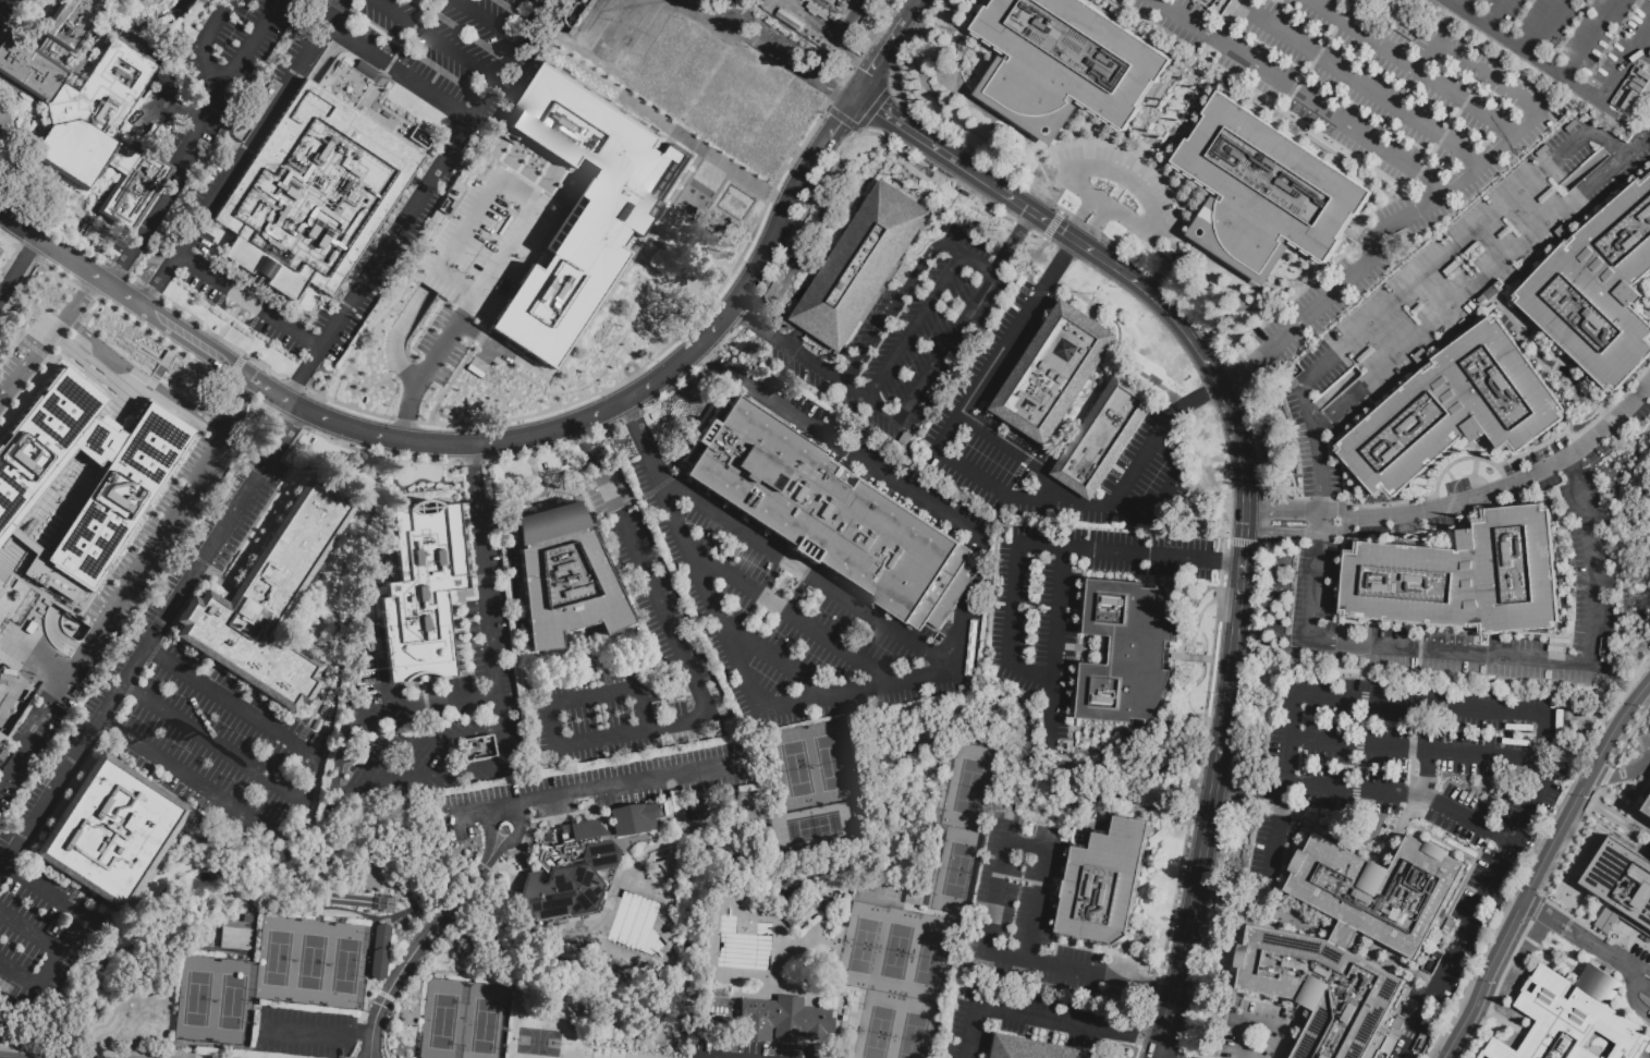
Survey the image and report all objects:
road: (1449, 1)
road: (1451, 1)
building: (829, 2)
road: (535, 4)
building: (818, 11)
road: (912, 11)
road: (1498, 13)
road: (719, 20)
building: (790, 20)
road: (488, 21)
road: (742, 21)
power substation: (818, 21)
road: (1232, 21)
road: (1545, 26)
building: (70, 27)
road: (406, 36)
road: (824, 36)
road: (1591, 38)
road: (429, 41)
road: (203, 44)
road: (781, 57)
road: (878, 61)
building: (1063, 64)
road: (1413, 69)
road: (846, 70)
road: (399, 71)
road: (1563, 74)
road: (224, 82)
building: (115, 83)
building: (345, 85)
road: (830, 86)
road: (1361, 86)
road: (888, 89)
road: (832, 92)
road: (166, 96)
road: (1301, 96)
traffic signals: (852, 100)
road: (824, 108)
road: (871, 110)
building: (258, 111)
road: (1633, 112)
building: (63, 119)
road: (842, 120)
road: (260, 126)
road: (934, 126)
road: (858, 132)
road: (904, 132)
road: (830, 133)
road: (1076, 133)
road: (846, 141)
road: (1100, 143)
road: (800, 145)
road: (1638, 145)
road: (704, 149)
road: (1590, 163)
road: (433, 173)
road: (1126, 174)
road: (973, 175)
road: (1465, 180)
road: (795, 187)
building: (1266, 191)
building: (313, 193)
building: (966, 193)
building: (138, 194)
road: (768, 194)
road: (1188, 207)
road: (1105, 208)
road: (531, 209)
building: (583, 209)
road: (704, 210)
road: (1060, 212)
road: (1080, 216)
road: (1084, 224)
road: (1051, 226)
road: (1097, 227)
road: (145, 228)
road: (1019, 228)
road: (1056, 228)
road: (1036, 238)
road: (1012, 242)
road: (967, 257)
road: (1444, 258)
road: (73, 262)
road: (19, 266)
road: (1059, 266)
road: (1146, 267)
road: (122, 269)
building: (864, 269)
road: (158, 279)
parking lot: (1457, 279)
road: (1476, 291)
building: (1603, 292)
road: (76, 296)
road: (502, 299)
road: (737, 300)
road: (247, 301)
road: (239, 306)
road: (386, 307)
road: (893, 313)
road: (231, 317)
road: (745, 318)
road: (753, 321)
road: (1180, 321)
road: (638, 323)
road: (915, 327)
road: (396, 335)
road: (725, 336)
road: (192, 339)
road: (946, 346)
road: (136, 348)
road: (29, 354)
road: (708, 357)
road: (808, 361)
building: (828, 361)
road: (239, 362)
road: (720, 362)
road: (1244, 366)
road: (264, 368)
road: (146, 372)
road: (989, 372)
road: (303, 375)
building: (1056, 375)
road: (631, 376)
road: (293, 382)
road: (267, 389)
road: (671, 389)
road: (855, 392)
road: (1331, 394)
road: (1199, 397)
road: (346, 405)
road: (405, 410)
road: (883, 410)
road: (1231, 411)
building: (1453, 412)
road: (630, 416)
road: (403, 418)
road: (292, 421)
road: (606, 428)
road: (284, 430)
road: (583, 438)
building: (1105, 439)
road: (641, 441)
road: (487, 442)
road: (587, 447)
building: (879, 449)
road: (379, 454)
road: (527, 454)
road: (864, 458)
road: (1028, 459)
road: (1141, 461)
road: (470, 462)
road: (1321, 467)
road: (470, 471)
road: (1521, 478)
building: (76, 484)
building: (1029, 484)
road: (1160, 496)
road: (1012, 500)
road: (1307, 512)
building: (830, 514)
road: (162, 533)
road: (1307, 534)
road: (1063, 551)
road: (979, 568)
road: (809, 575)
building: (564, 576)
building: (1462, 577)
building: (421, 591)
road: (653, 594)
road: (709, 595)
building: (270, 599)
road: (1014, 606)
road: (1238, 612)
road: (791, 615)
road: (489, 630)
road: (963, 632)
building: (375, 644)
building: (1605, 648)
building: (1126, 653)
road: (1489, 653)
road: (775, 657)
road: (135, 661)
road: (857, 688)
building: (899, 693)
road: (592, 695)
road: (231, 702)
road: (420, 703)
park: (769, 714)
road: (1542, 730)
road: (32, 731)
road: (631, 732)
building: (0, 734)
road: (342, 738)
road: (419, 742)
road: (213, 743)
road: (1414, 749)
park: (830, 762)
park: (795, 767)
road: (1620, 774)
road: (190, 775)
road: (1428, 775)
road: (335, 776)
road: (418, 779)
road: (601, 787)
park: (968, 788)
road: (1248, 791)
road: (1402, 796)
road: (307, 803)
building: (1648, 810)
building: (633, 818)
park: (812, 827)
building: (111, 831)
road: (1276, 832)
road: (489, 834)
road: (513, 836)
road: (1541, 866)
park: (958, 871)
building: (567, 872)
building: (1623, 880)
building: (1107, 884)
road: (1197, 897)
road: (997, 898)
building: (914, 899)
building: (805, 911)
road: (78, 912)
building: (367, 913)
road: (29, 929)
road: (1576, 936)
building: (208, 939)
building: (1349, 943)
park: (865, 945)
building: (378, 950)
park: (897, 951)
road: (417, 953)
park: (277, 958)
park: (931, 959)
park: (310, 962)
park: (345, 965)
building: (624, 970)
road: (19, 974)
road: (1162, 984)
park: (198, 999)
park: (232, 1001)
road: (1024, 1013)
building: (787, 1018)
building: (1572, 1018)
park: (443, 1022)
park: (485, 1025)
road: (1166, 1032)
road: (322, 1033)
park: (880, 1033)
park: (914, 1036)
road: (1144, 1037)
building: (700, 1046)
building: (1035, 1049)
road: (701, 1057)
road: (706, 1057)

